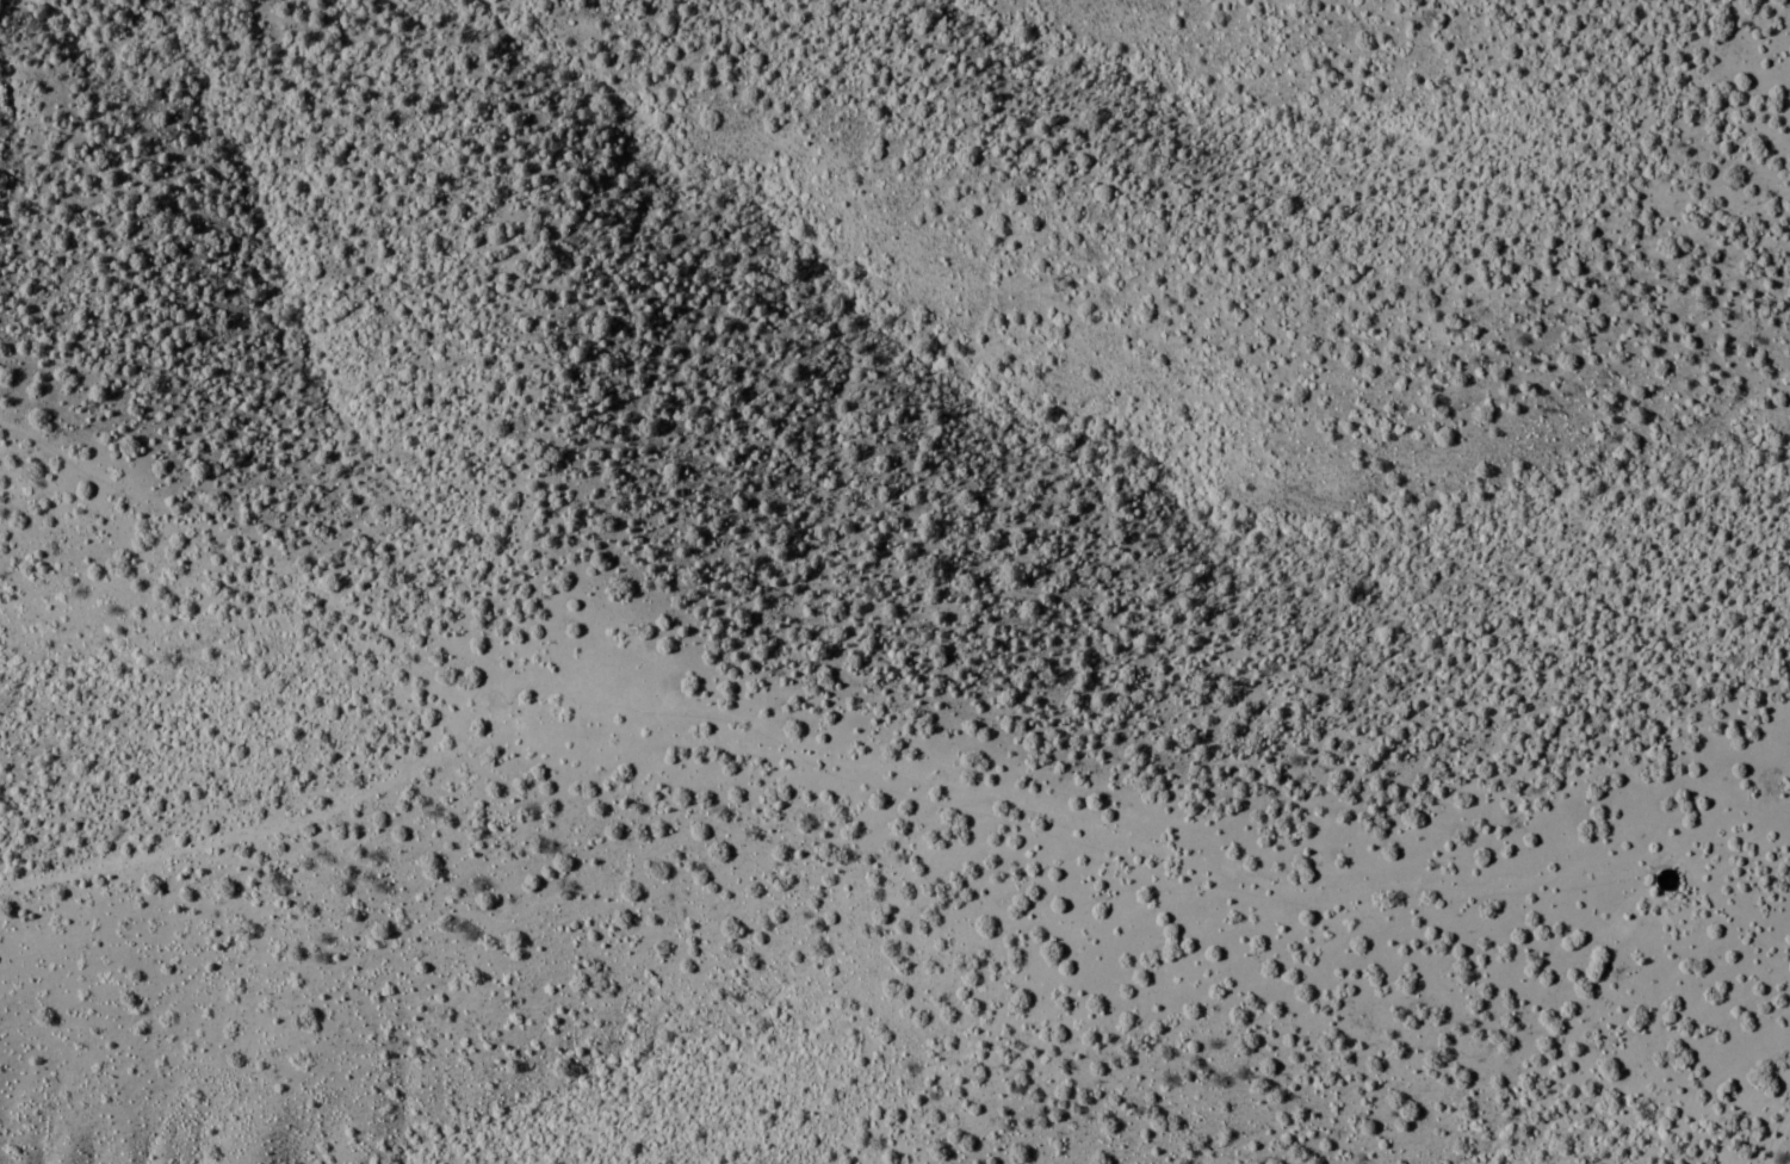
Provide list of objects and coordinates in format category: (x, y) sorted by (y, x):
building: (1664, 878)
storage tank: (1664, 878)
road: (1519, 879)

